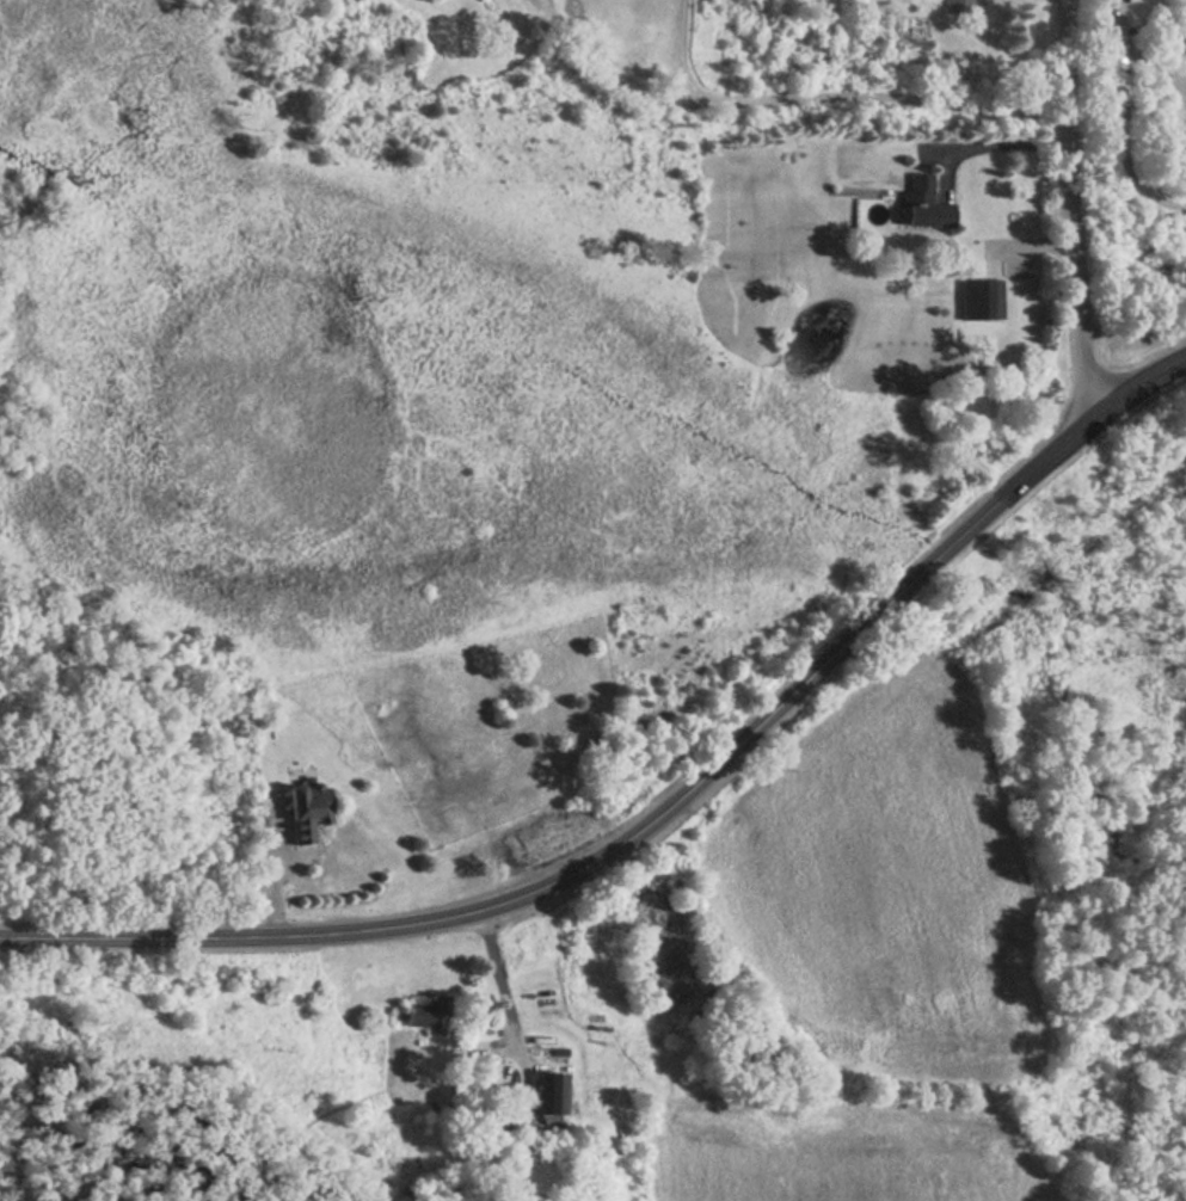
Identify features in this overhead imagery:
building: (957, 5)
road: (1123, 23)
road: (1155, 72)
road: (837, 94)
building: (1185, 121)
road: (997, 146)
road: (1123, 147)
building: (1184, 155)
building: (923, 201)
road: (1071, 208)
building: (979, 297)
road: (1143, 383)
building: (303, 811)
road: (623, 840)
road: (502, 979)
building: (426, 1015)
building: (549, 1092)
building: (520, 1131)

